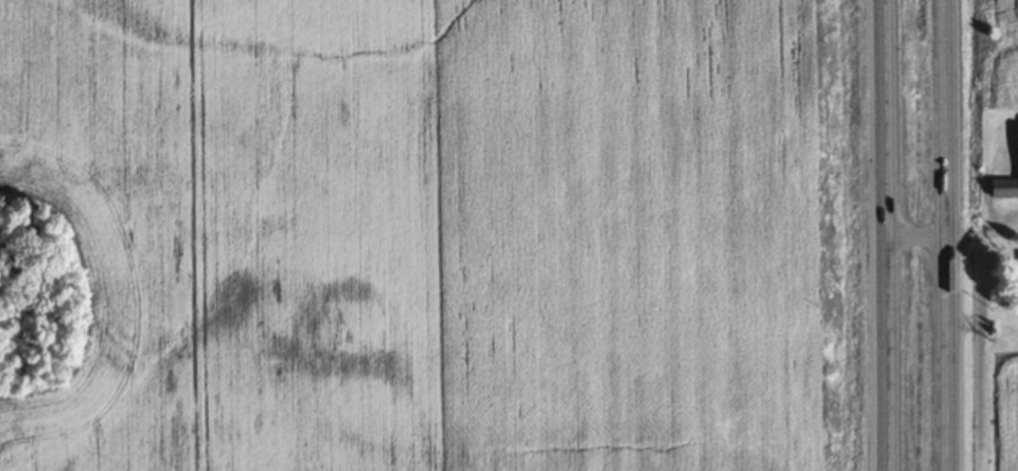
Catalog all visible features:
building: (1004, 188)
road: (887, 235)
road: (946, 235)

